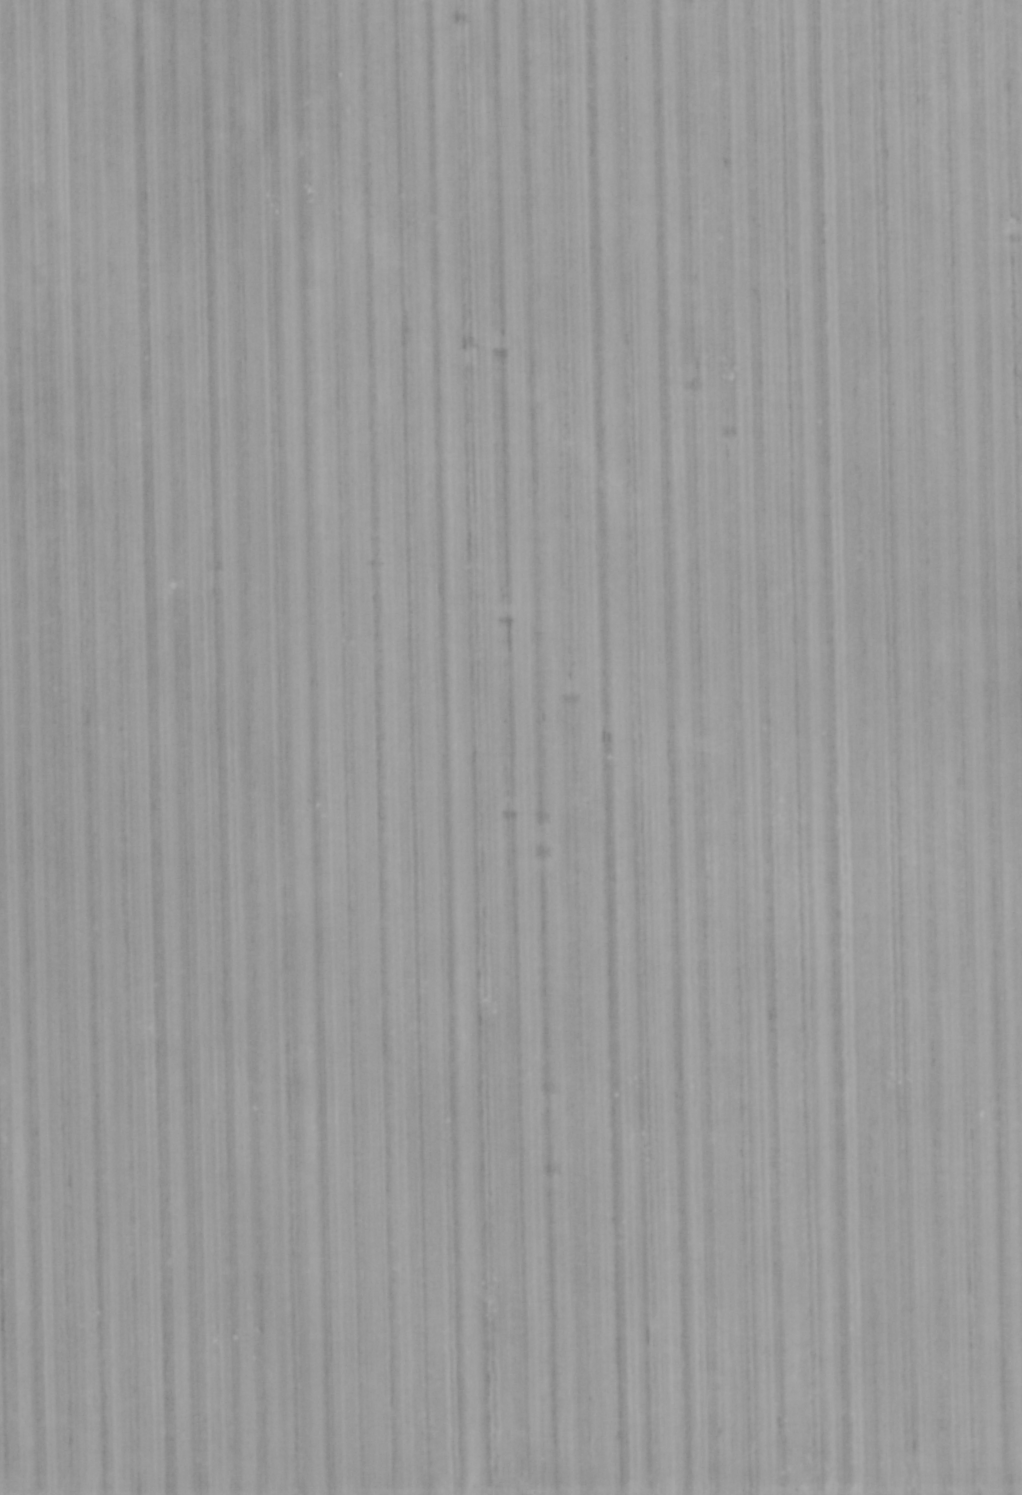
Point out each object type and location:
crop: (511, 747)

